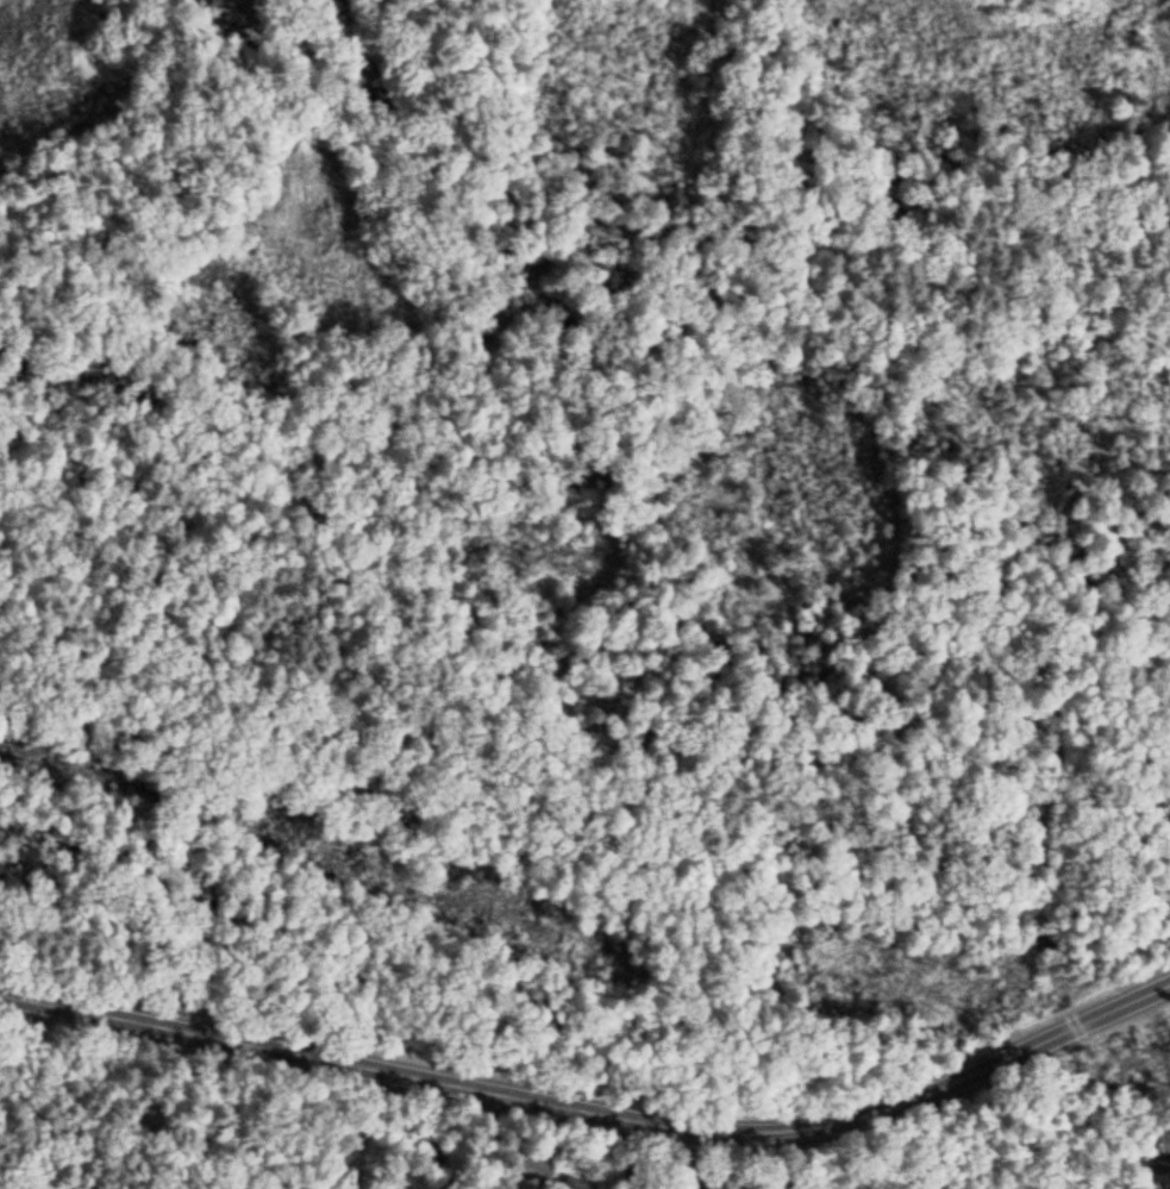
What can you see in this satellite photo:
road: (594, 1115)
road: (350, 1127)
road: (456, 1139)
road: (492, 1139)
road: (715, 1144)
road: (624, 1156)
road: (783, 1162)
building: (1160, 1170)
road: (728, 1171)
building: (573, 1184)

